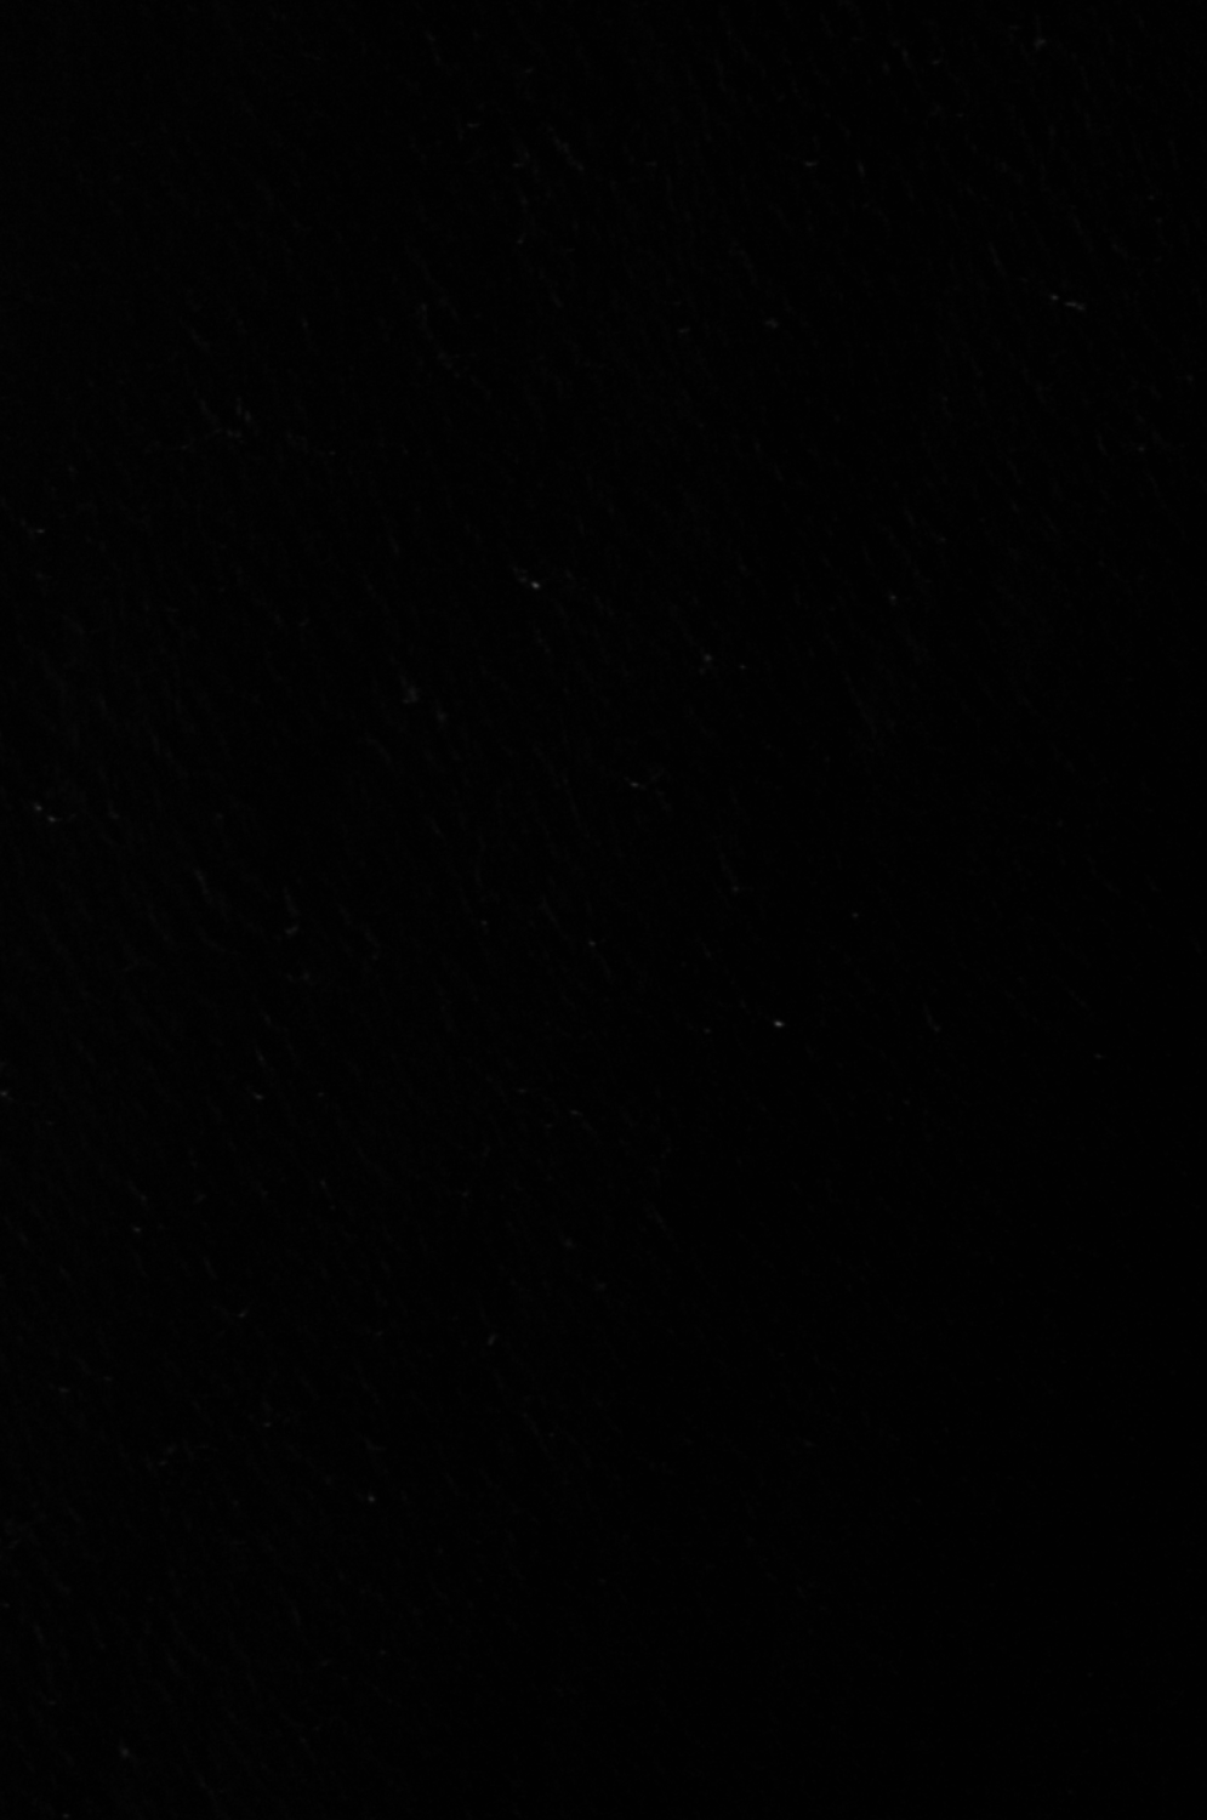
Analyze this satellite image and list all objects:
river: (571, 595)

